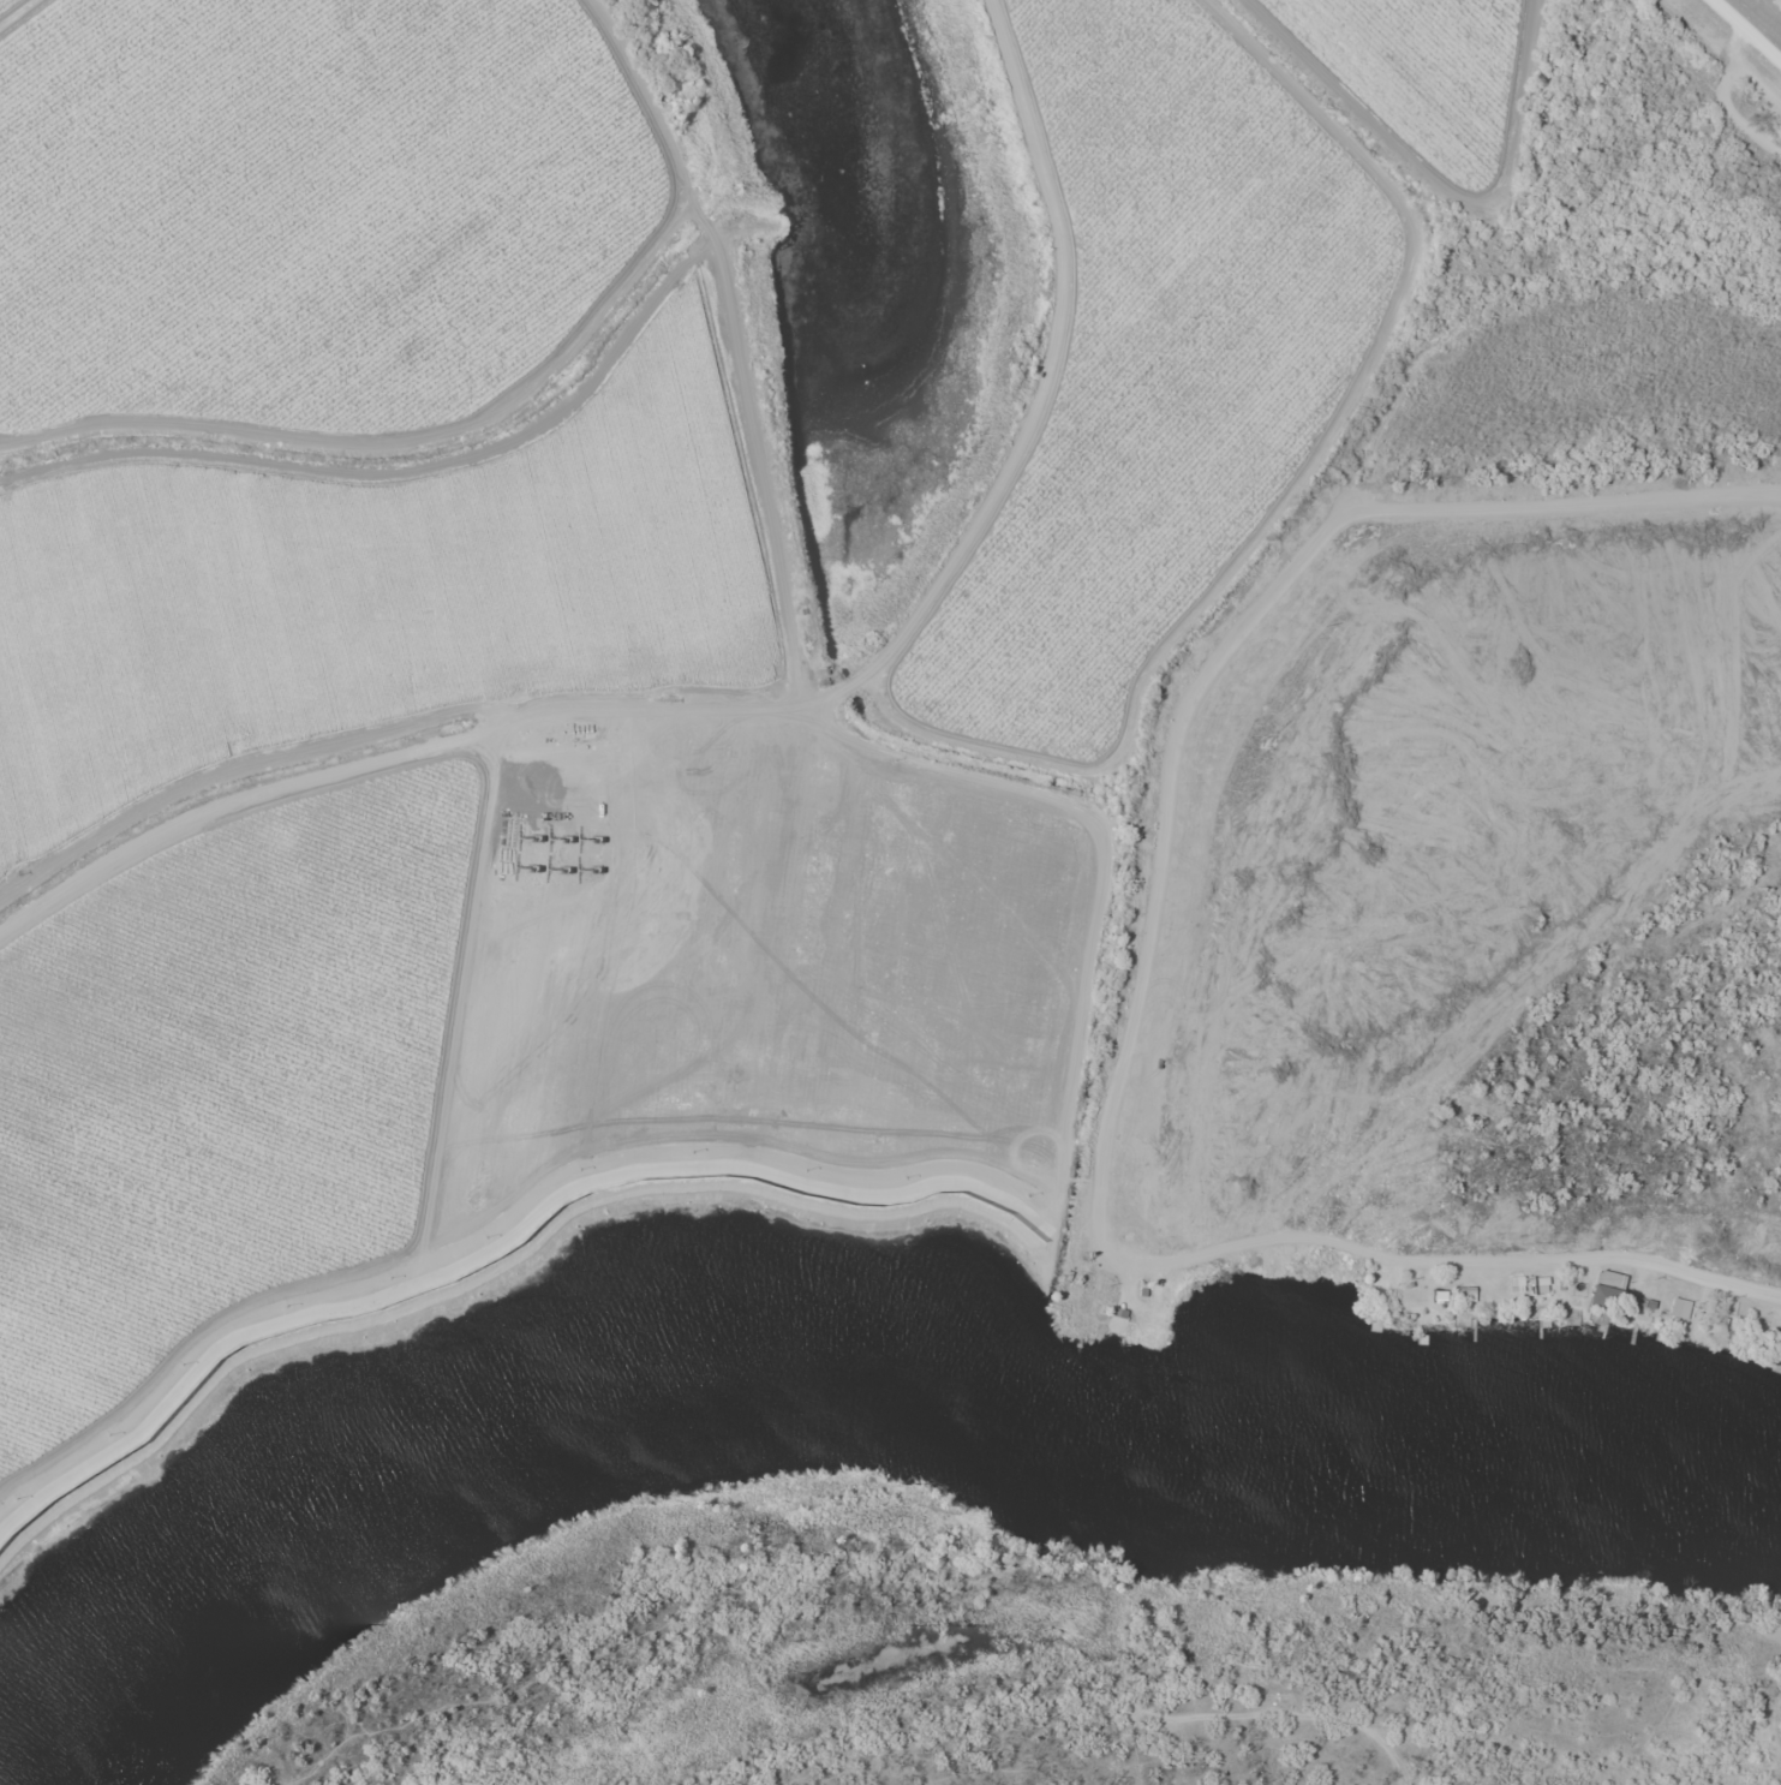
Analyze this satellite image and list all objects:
road: (1749, 29)
road: (1363, 508)
road: (814, 696)
road: (782, 708)
road: (462, 1001)
road: (503, 1242)
road: (1239, 1247)
building: (1517, 1284)
building: (1542, 1284)
building: (1607, 1289)
building: (1465, 1294)
building: (1440, 1296)
building: (1683, 1303)
pier: (1633, 1335)
pier: (1423, 1338)
building: (1779, 1343)
road: (195, 1348)
river: (823, 1348)

